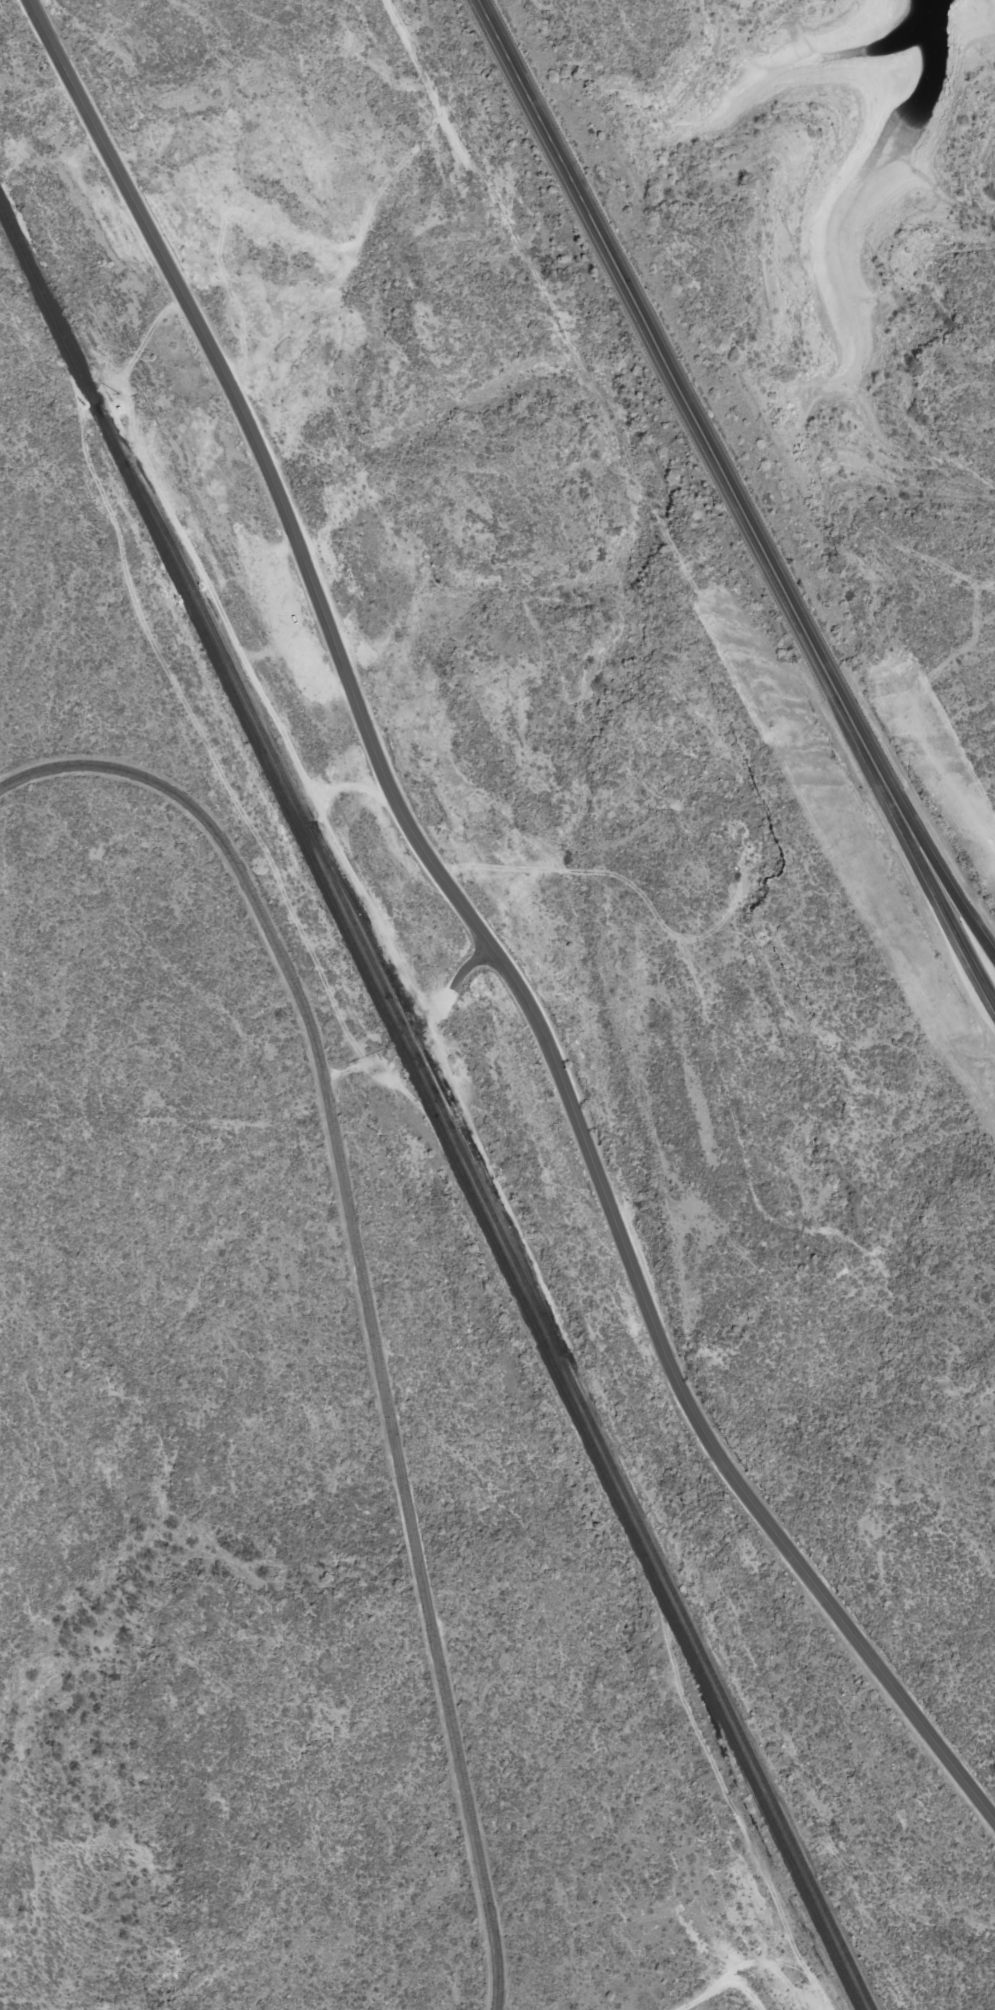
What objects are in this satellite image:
road: (703, 436)
road: (964, 909)
road: (963, 929)
road: (481, 930)
railway: (431, 1107)
railway: (486, 1203)
road: (366, 1292)

